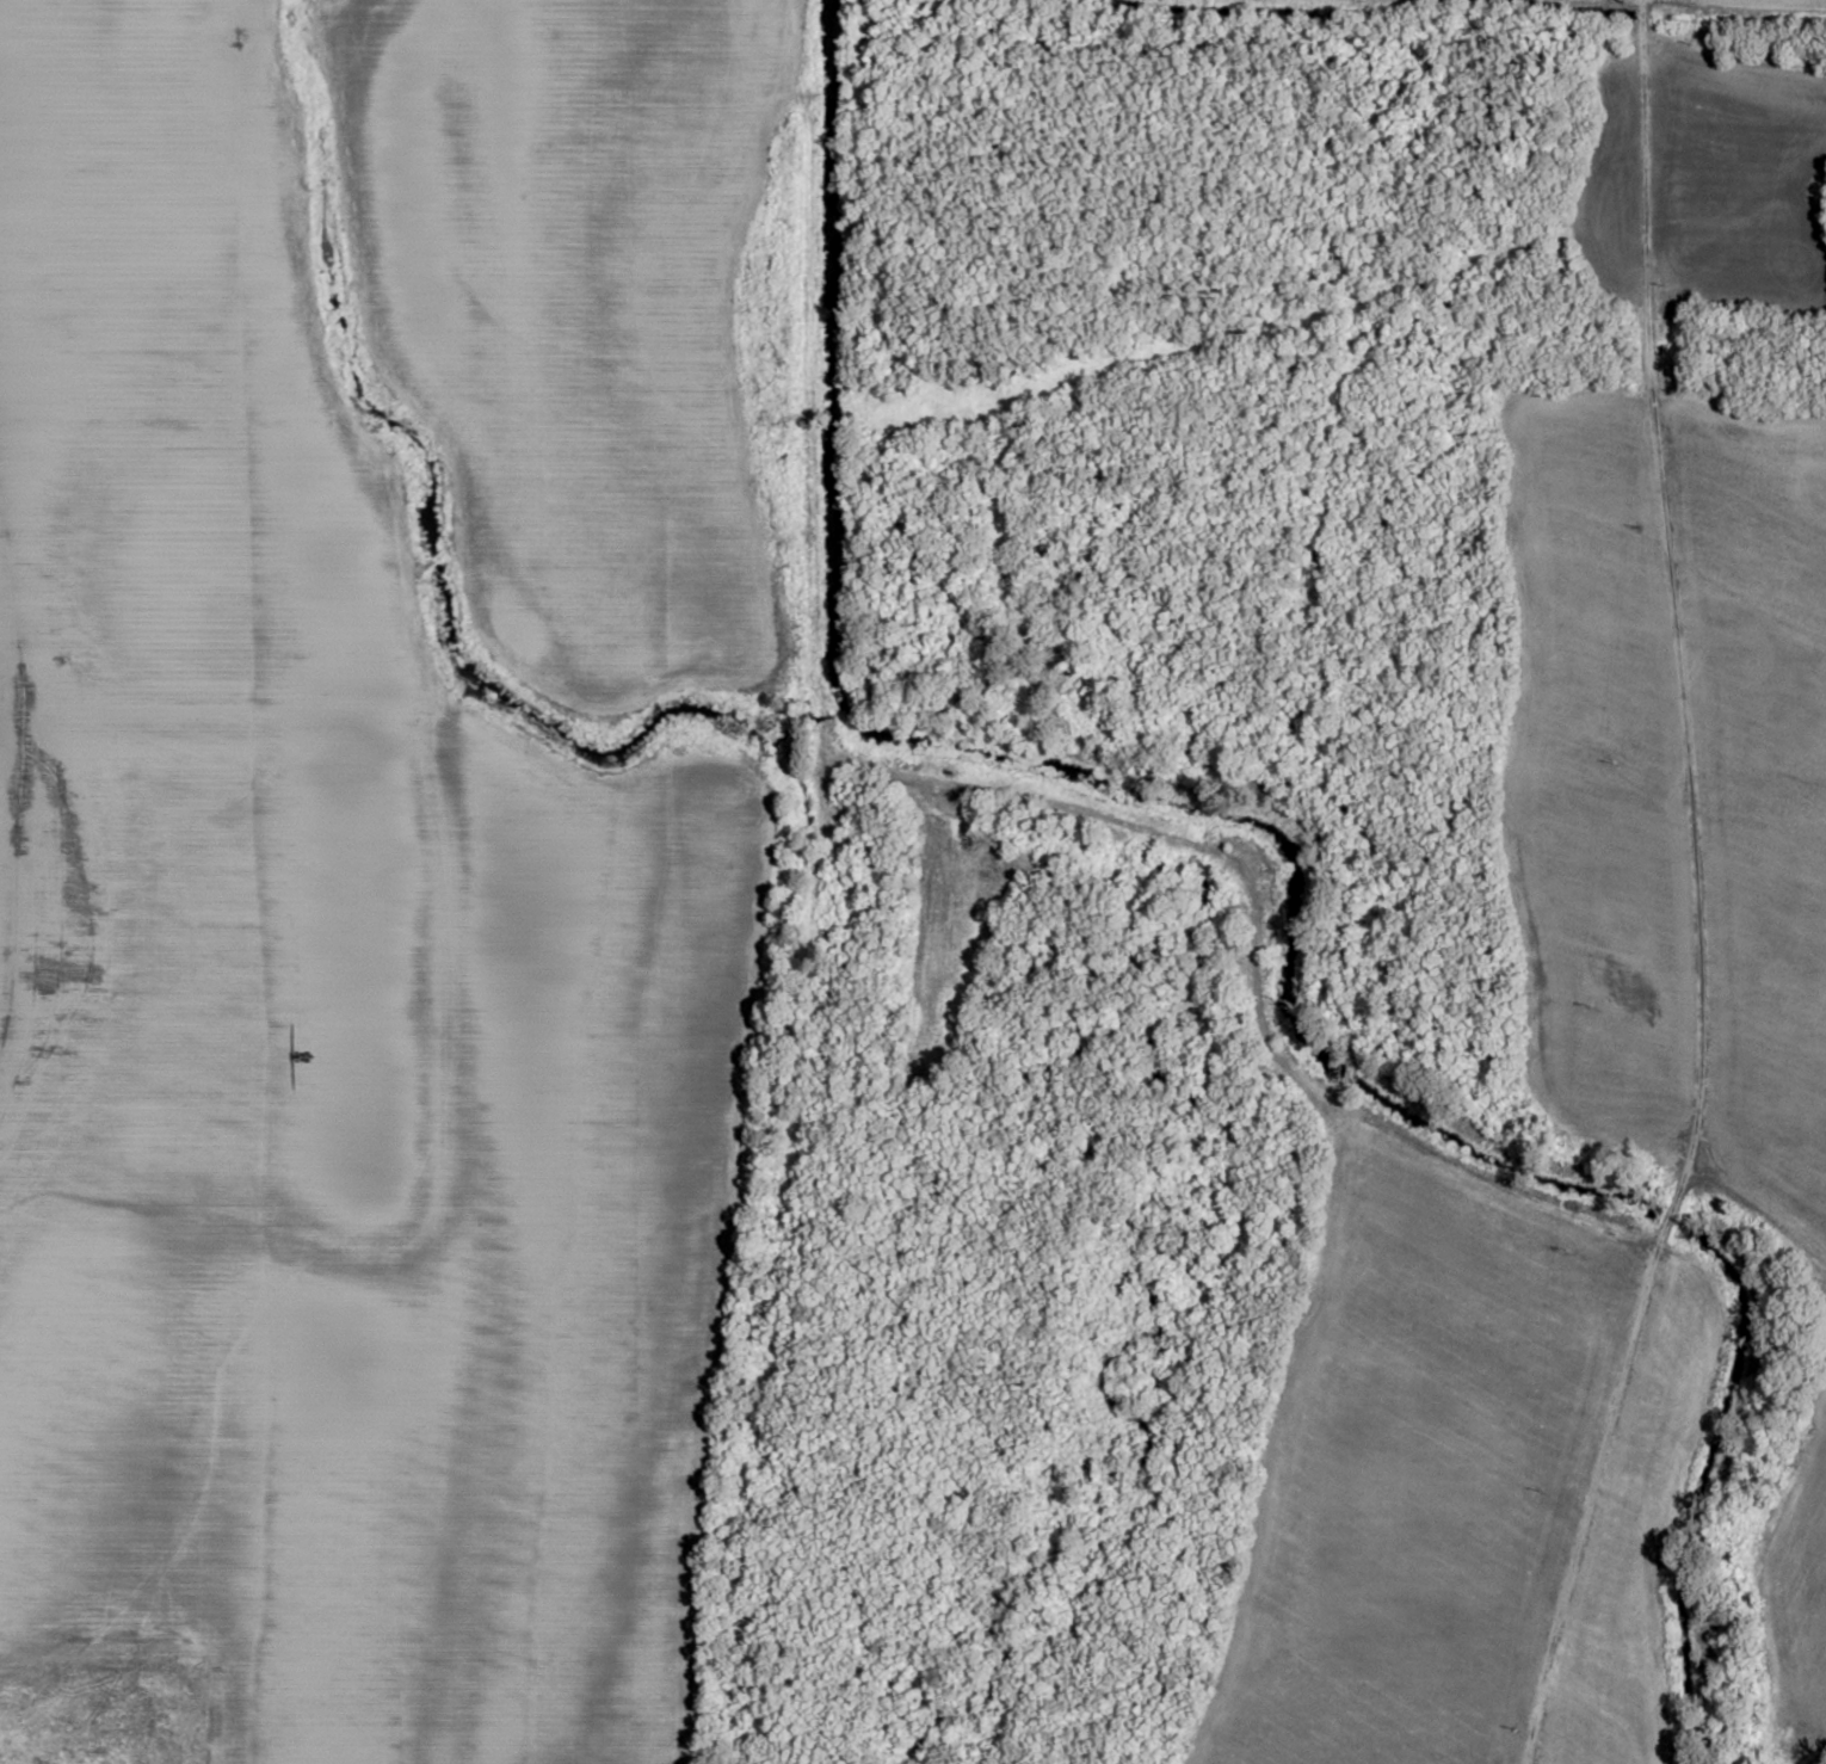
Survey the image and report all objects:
road: (1696, 890)

